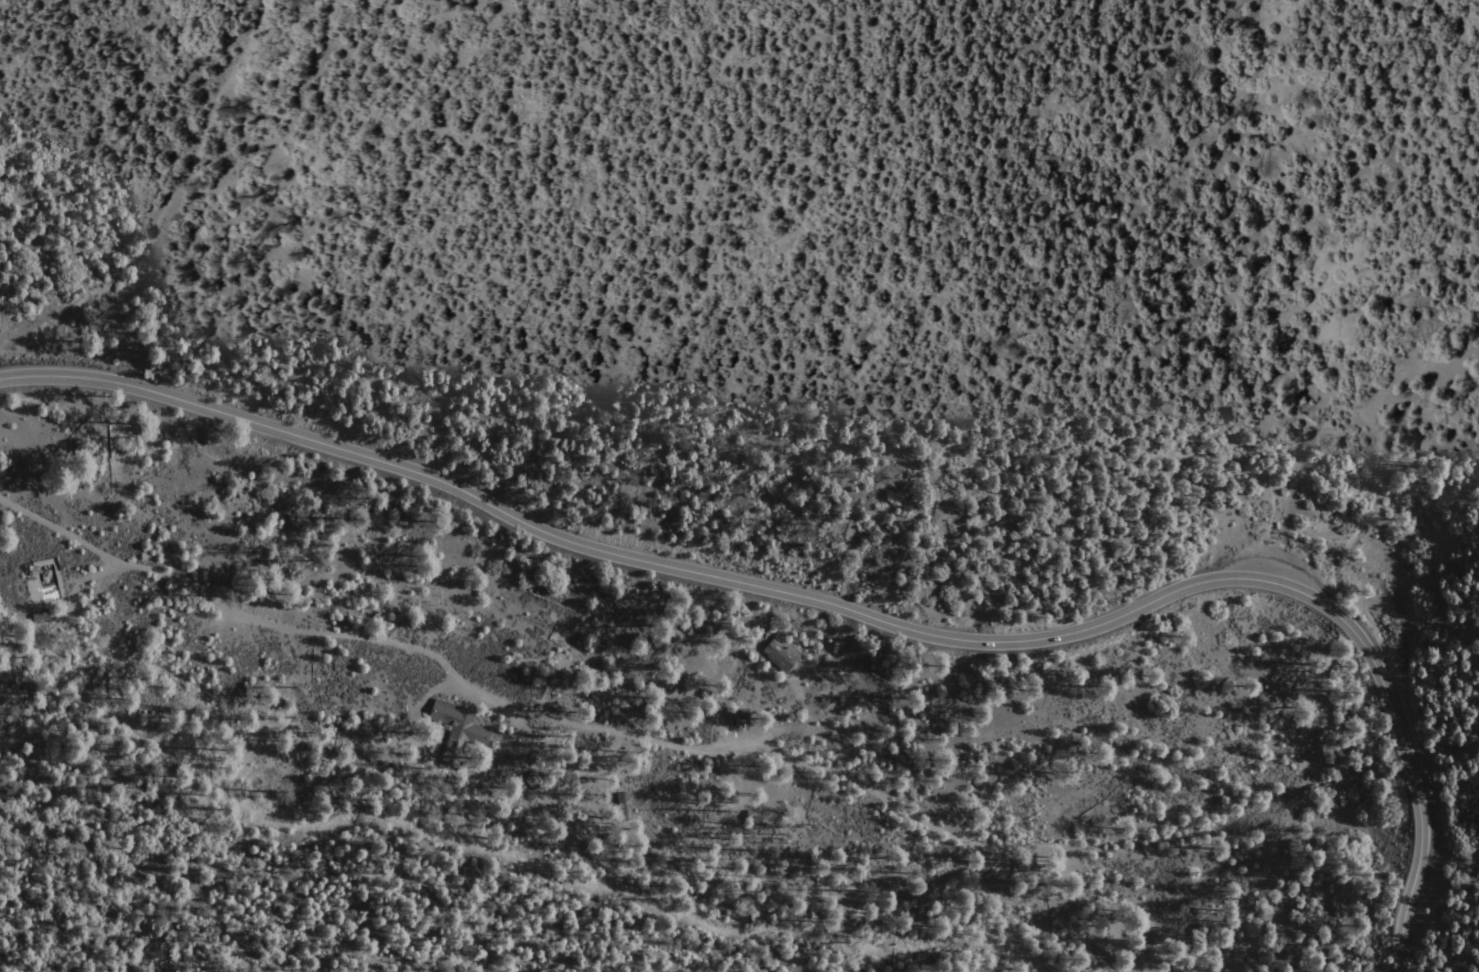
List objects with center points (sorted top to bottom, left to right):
building: (39, 586)
road: (851, 610)
road: (258, 620)
building: (780, 649)
building: (448, 714)
building: (736, 715)
road: (630, 736)

